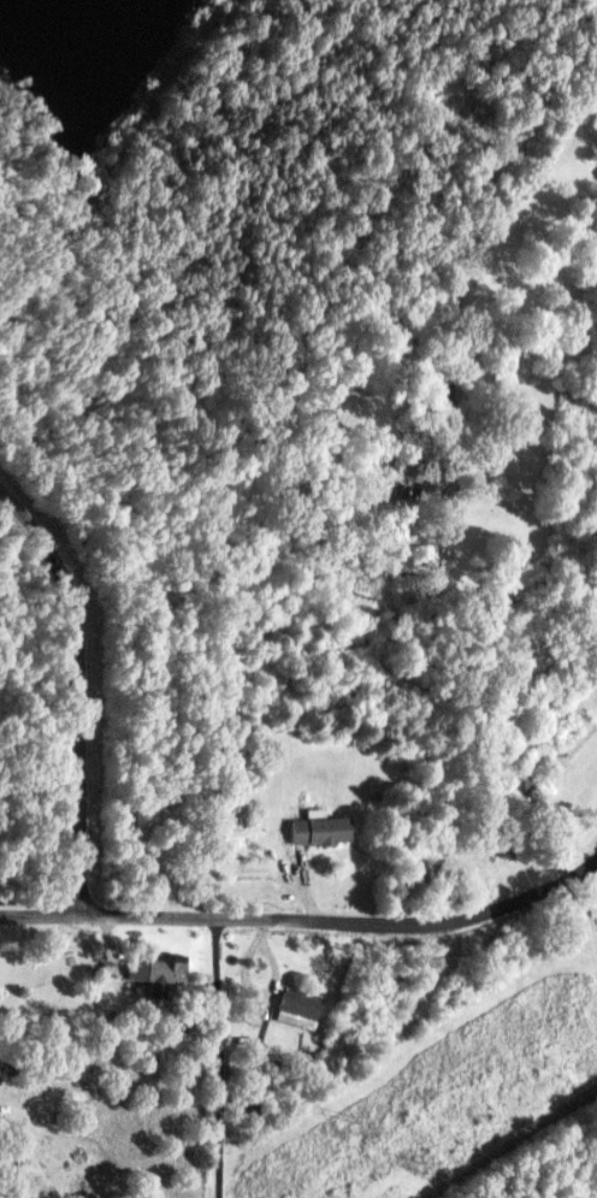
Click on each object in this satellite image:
building: (430, 390)
road: (443, 668)
road: (78, 691)
building: (312, 830)
road: (305, 923)
building: (152, 969)
building: (291, 1009)
road: (214, 1058)
power tower: (355, 1115)
power tower: (421, 1164)

